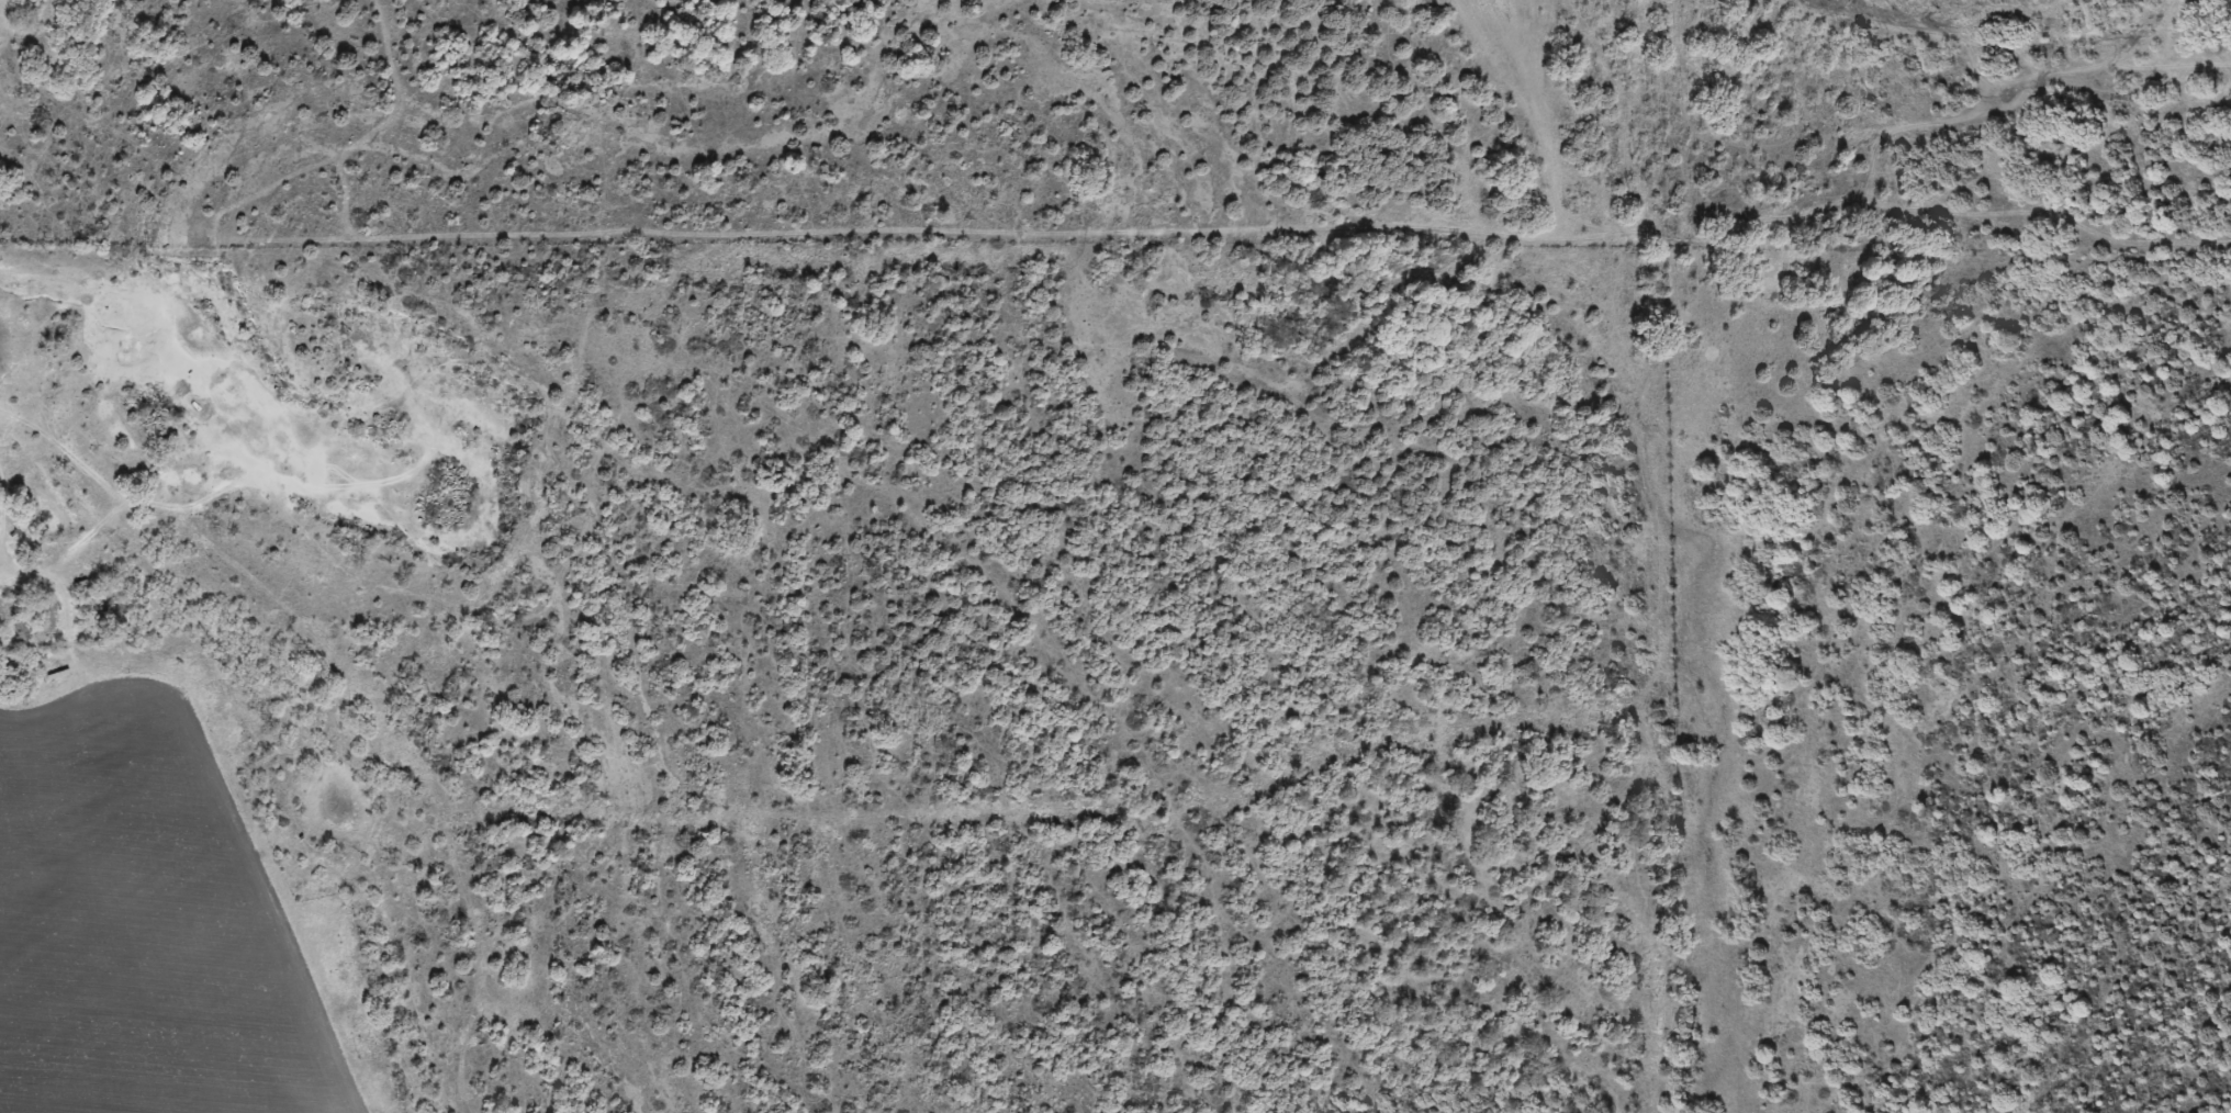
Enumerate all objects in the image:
road: (2, 477)
building: (19, 629)

